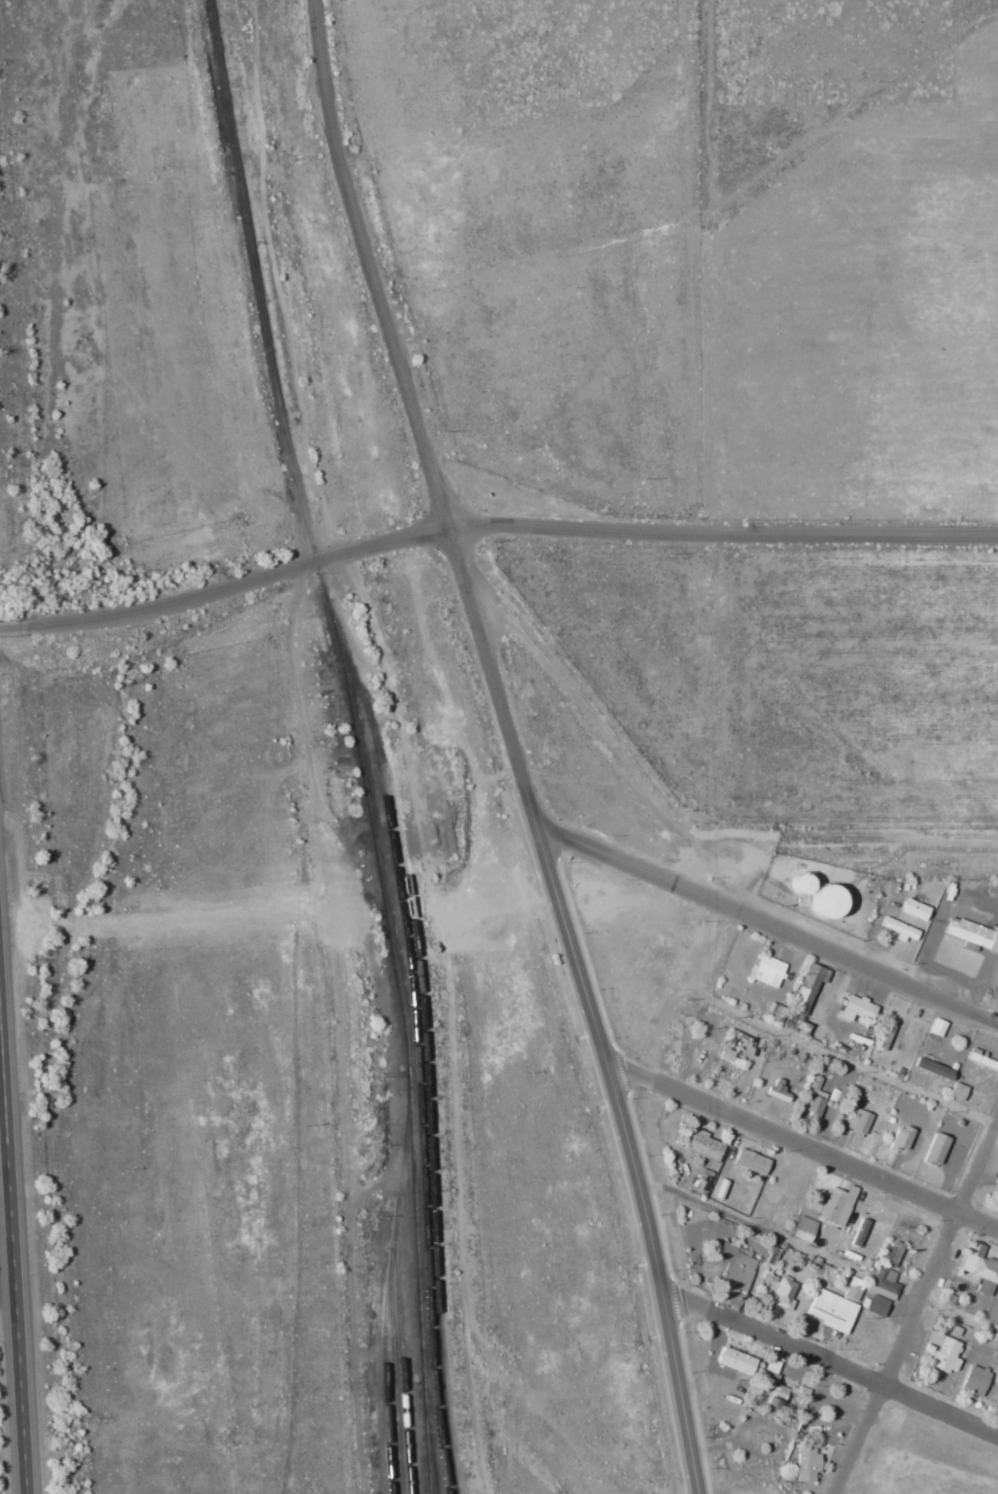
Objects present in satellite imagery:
road: (389, 327)
road: (504, 525)
road: (12, 627)
road: (563, 699)
railway: (358, 741)
building: (797, 882)
building: (821, 900)
building: (912, 909)
road: (768, 924)
building: (898, 929)
building: (972, 934)
building: (767, 971)
building: (807, 987)
building: (855, 1008)
building: (936, 1027)
building: (886, 1034)
railway: (426, 1060)
building: (731, 1060)
road: (609, 1068)
building: (932, 1068)
building: (956, 1092)
building: (776, 1093)
building: (813, 1098)
railway: (419, 1104)
building: (858, 1121)
building: (900, 1138)
building: (701, 1145)
road: (804, 1145)
building: (934, 1149)
building: (750, 1161)
building: (836, 1203)
building: (802, 1229)
road: (13, 1257)
building: (734, 1266)
building: (980, 1268)
building: (884, 1283)
building: (853, 1289)
railway: (387, 1292)
building: (783, 1294)
building: (876, 1305)
building: (830, 1310)
road: (921, 1317)
building: (955, 1331)
building: (944, 1352)
railway: (402, 1354)
building: (734, 1360)
building: (996, 1360)
road: (831, 1371)
railway: (394, 1378)
building: (975, 1381)
building: (774, 1398)
railway: (433, 1447)
building: (806, 1464)

